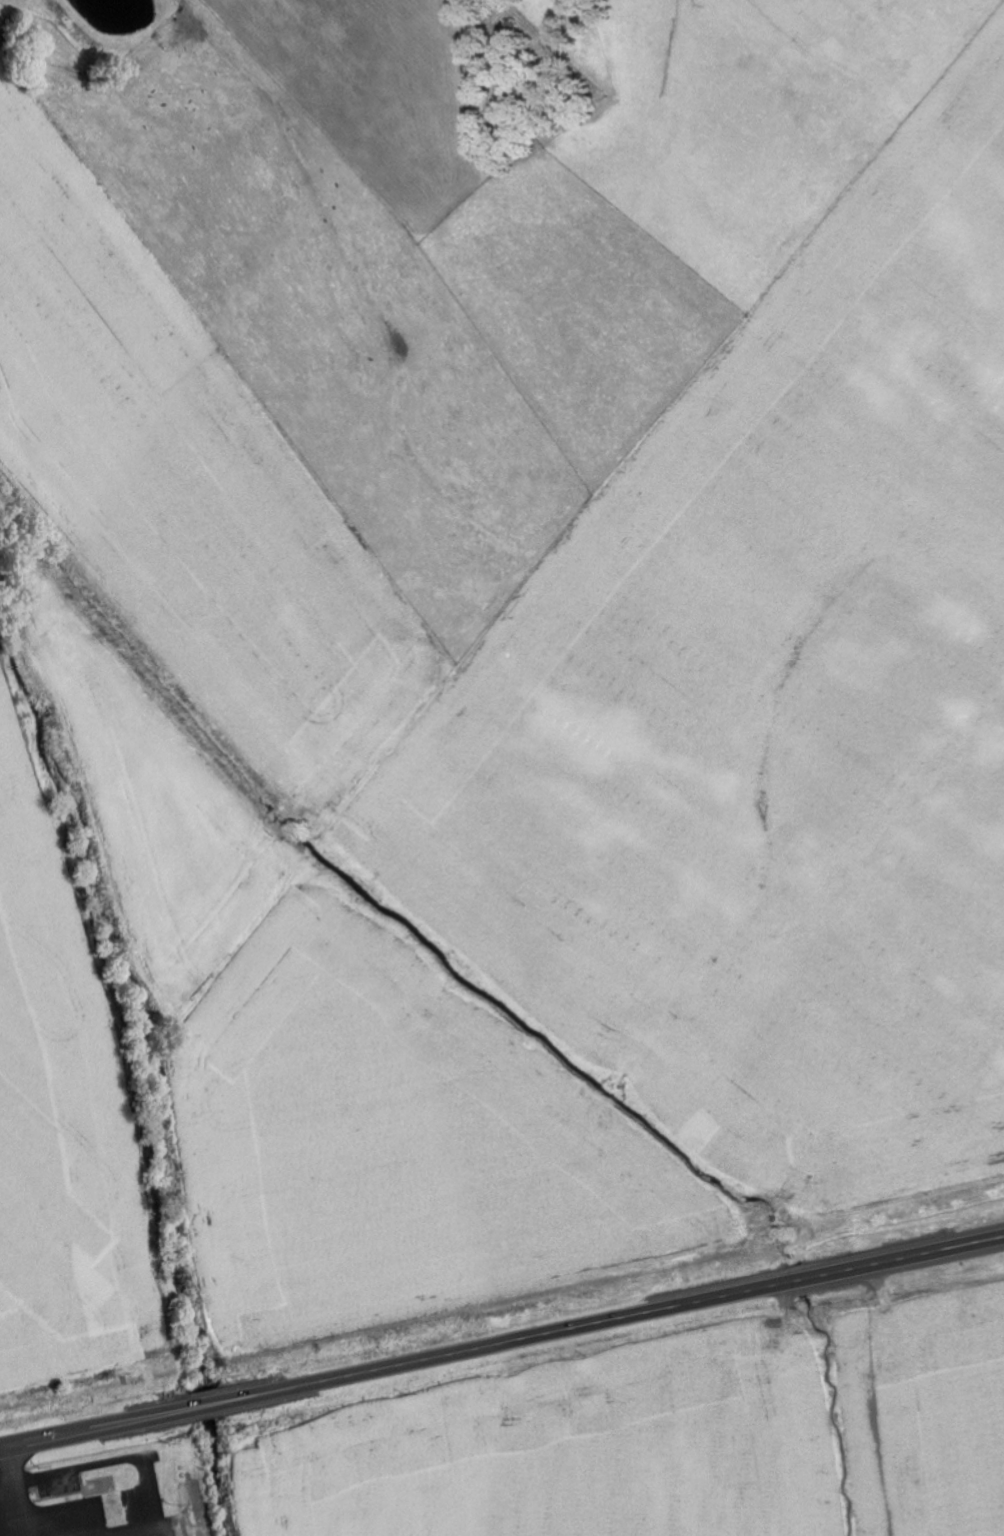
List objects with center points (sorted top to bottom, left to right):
road: (502, 1343)

